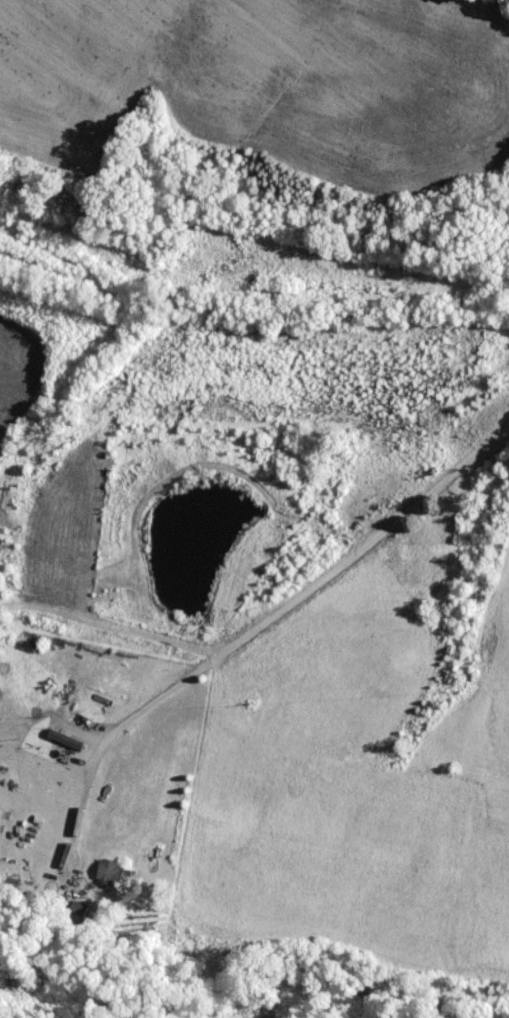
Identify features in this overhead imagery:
road: (314, 556)
building: (61, 738)
building: (107, 872)

